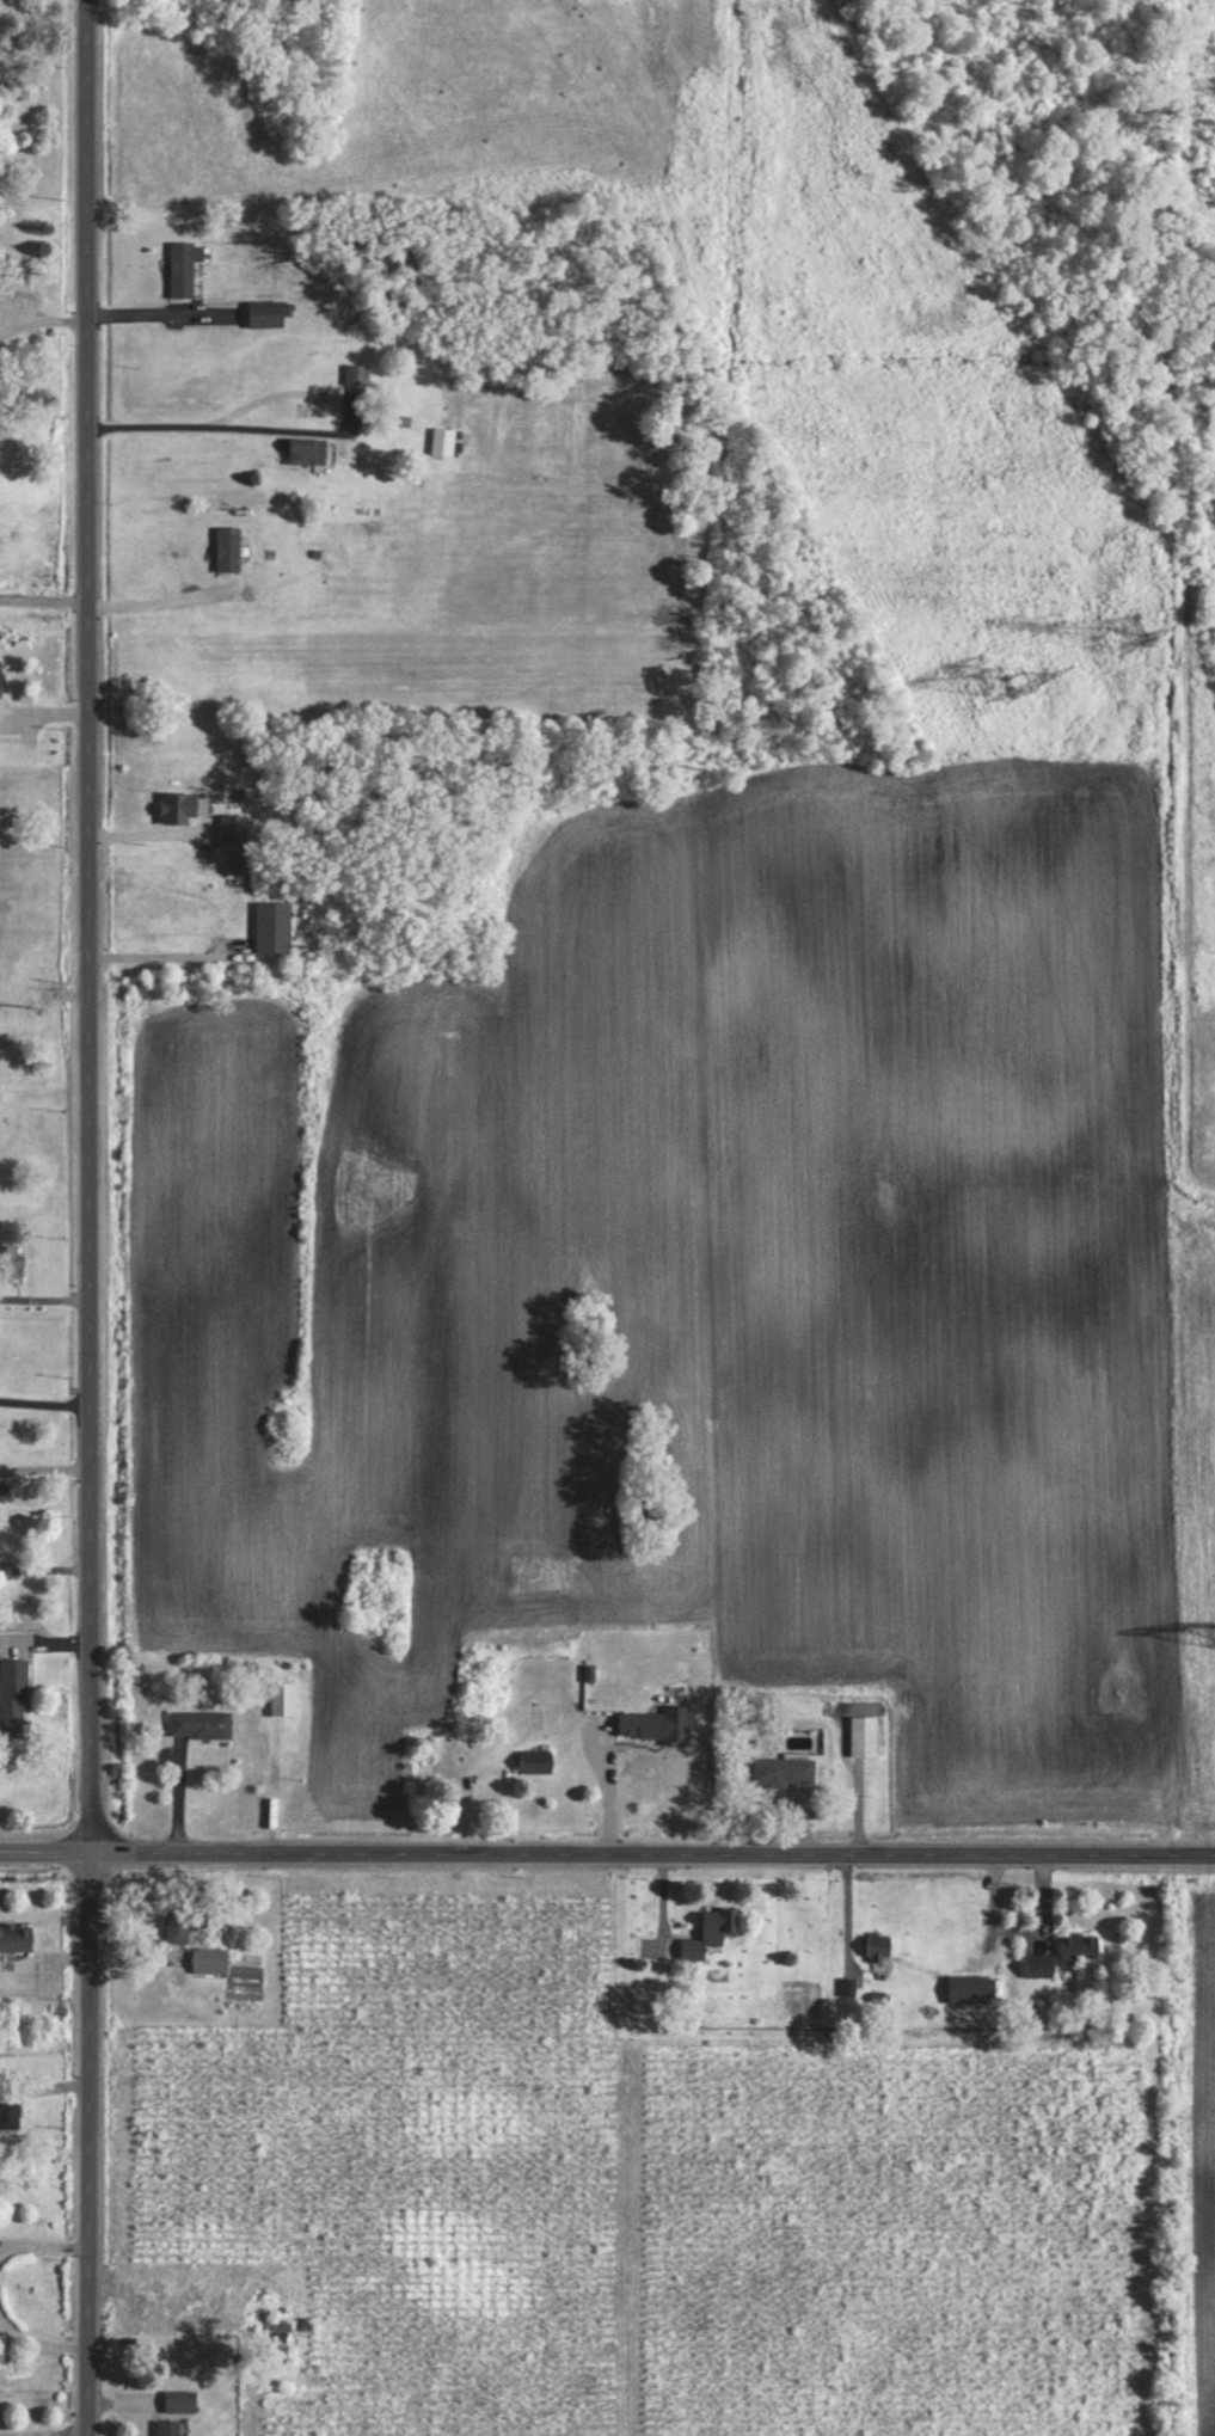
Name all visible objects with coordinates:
building: (186, 268)
building: (266, 312)
road: (162, 314)
building: (357, 374)
road: (300, 391)
building: (444, 441)
building: (307, 449)
building: (229, 548)
road: (45, 599)
road: (160, 599)
power tower: (1135, 636)
power tower: (1017, 681)
building: (0, 693)
building: (180, 806)
building: (234, 829)
road: (94, 1217)
building: (11, 1262)
road: (47, 1422)
road: (48, 1486)
building: (14, 1698)
building: (284, 1698)
building: (658, 1723)
building: (202, 1724)
building: (865, 1736)
building: (538, 1762)
building: (785, 1771)
road: (655, 1841)
road: (48, 1842)
road: (851, 1904)
building: (184, 1920)
building: (711, 1931)
building: (16, 1935)
building: (879, 1946)
building: (1078, 1947)
building: (211, 1959)
building: (1039, 1969)
building: (970, 1988)
building: (12, 2113)
road: (42, 2242)
road: (38, 2337)
building: (280, 2345)
building: (182, 2399)
building: (170, 2426)

